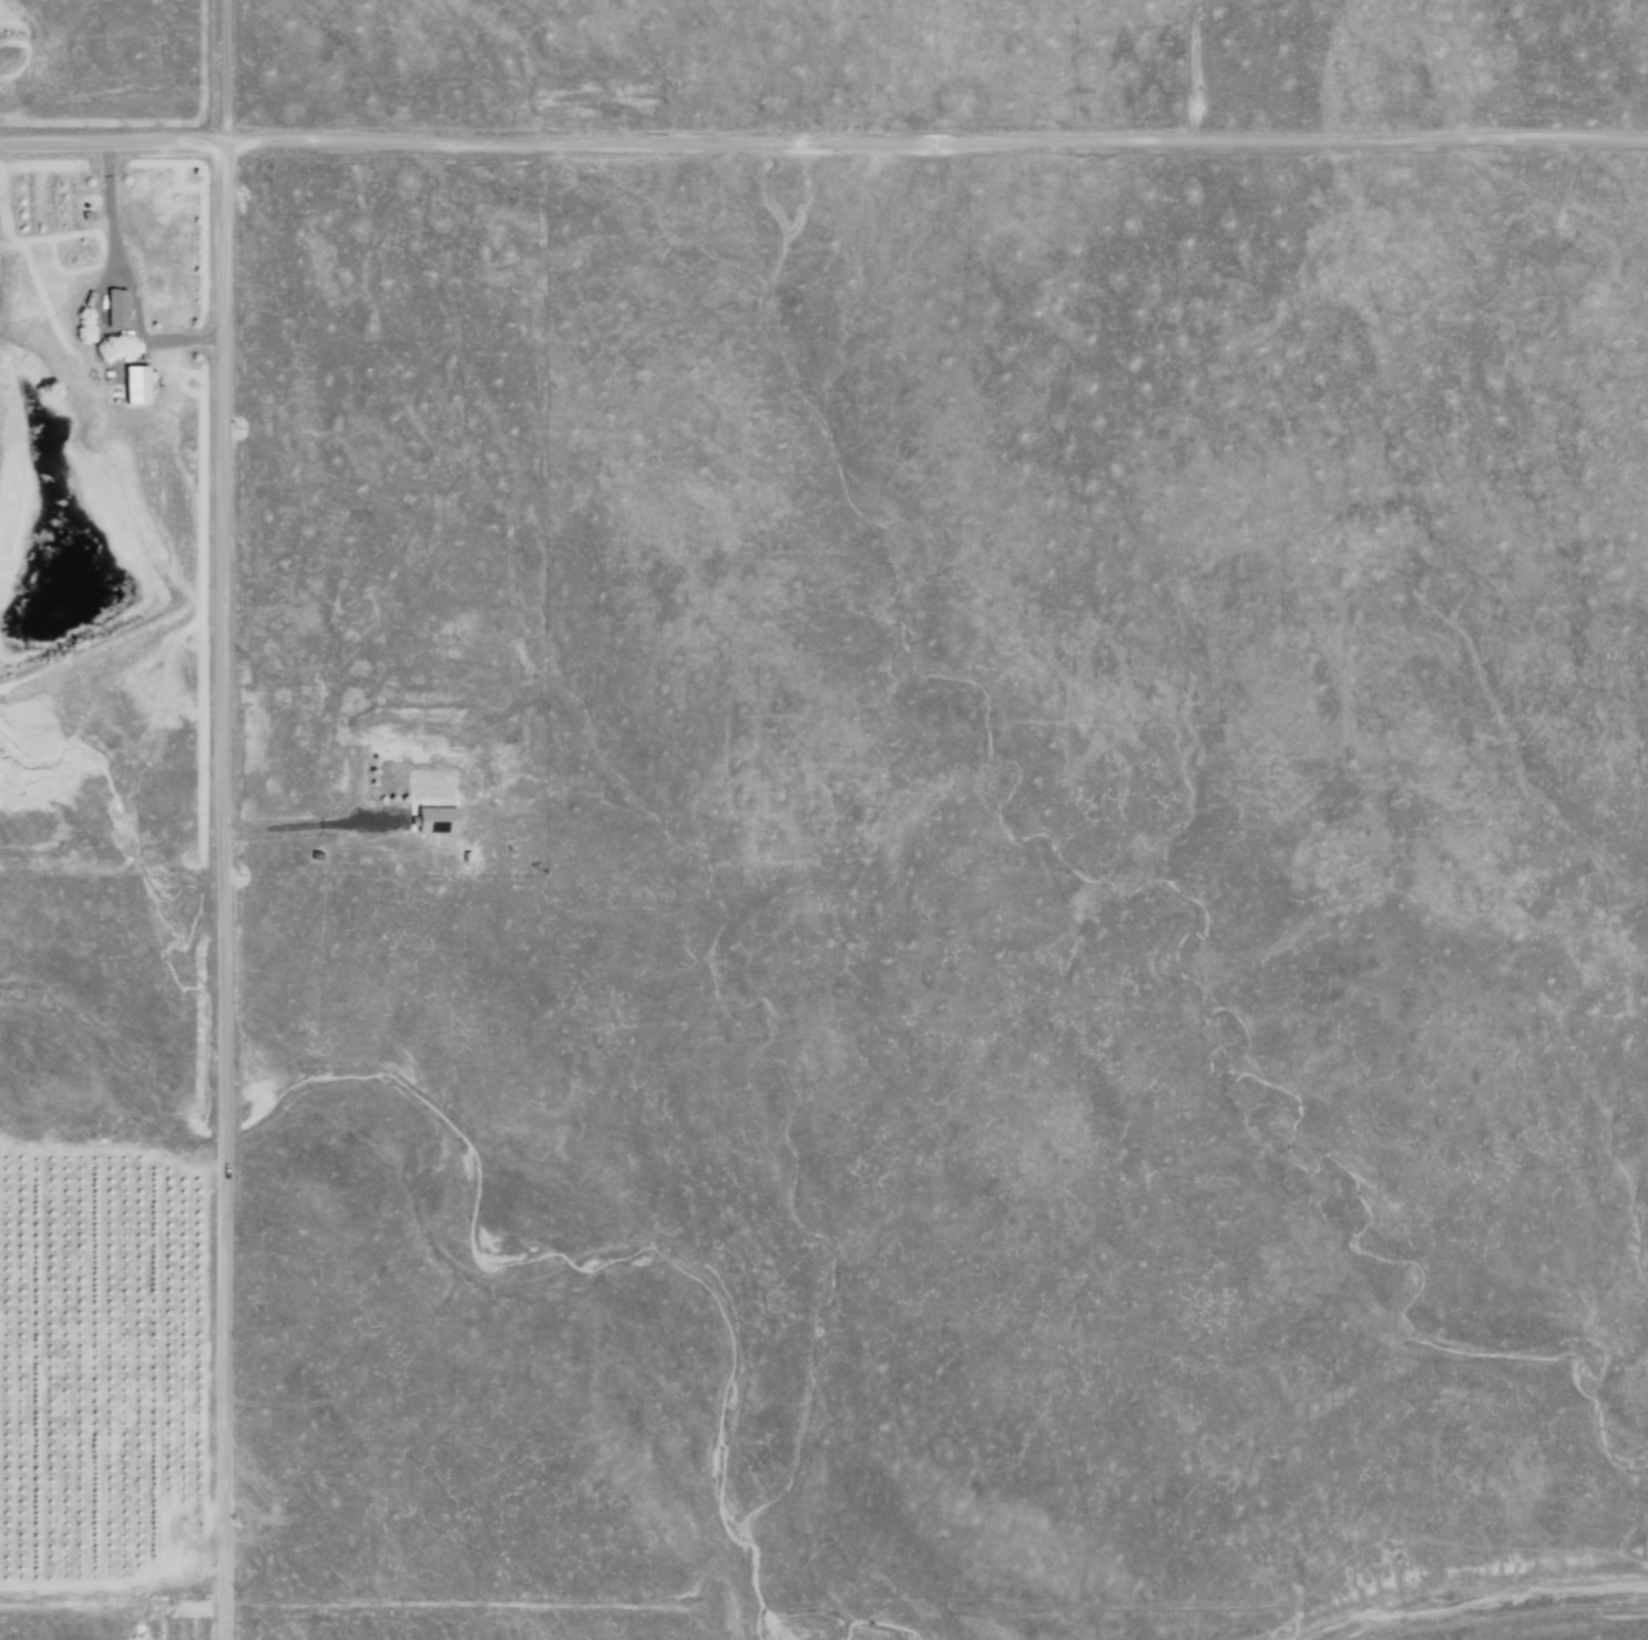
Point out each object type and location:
road: (823, 141)
road: (124, 279)
building: (115, 308)
building: (133, 385)
dam: (85, 635)
building: (433, 819)
road: (307, 826)
road: (221, 873)
road: (934, 1605)
road: (110, 1607)
road: (221, 1623)

